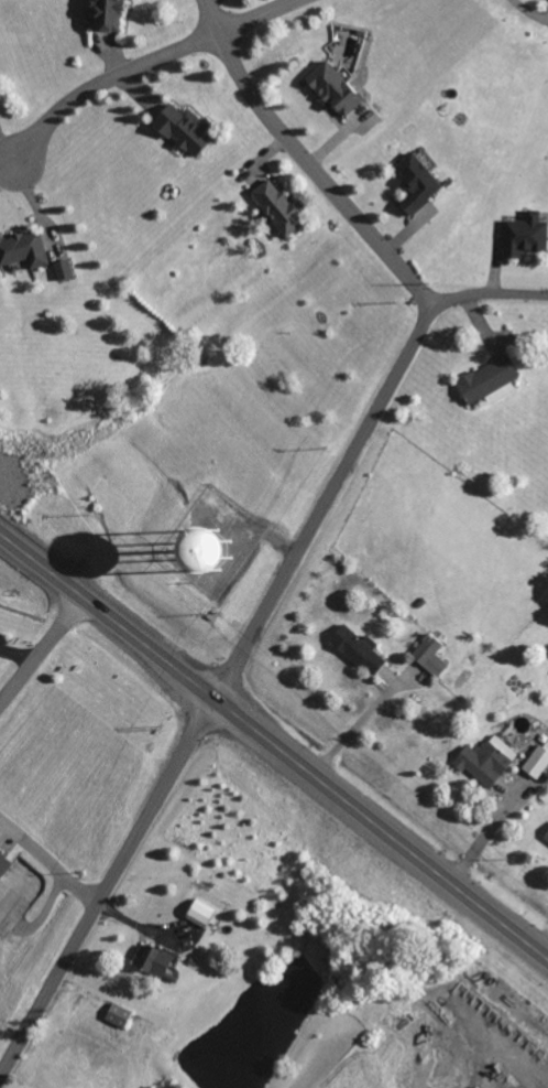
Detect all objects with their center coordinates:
road: (526, 14)
building: (103, 15)
road: (262, 20)
road: (105, 89)
building: (333, 91)
building: (183, 132)
road: (304, 165)
building: (416, 186)
building: (276, 211)
building: (524, 239)
building: (23, 252)
building: (62, 272)
building: (487, 385)
road: (351, 453)
water tower: (205, 545)
road: (42, 645)
building: (357, 654)
road: (15, 655)
building: (429, 659)
road: (274, 746)
building: (485, 764)
building: (537, 764)
building: (546, 774)
building: (546, 839)
road: (48, 861)
building: (3, 868)
road: (106, 887)
building: (198, 916)
building: (152, 965)
building: (116, 1019)

